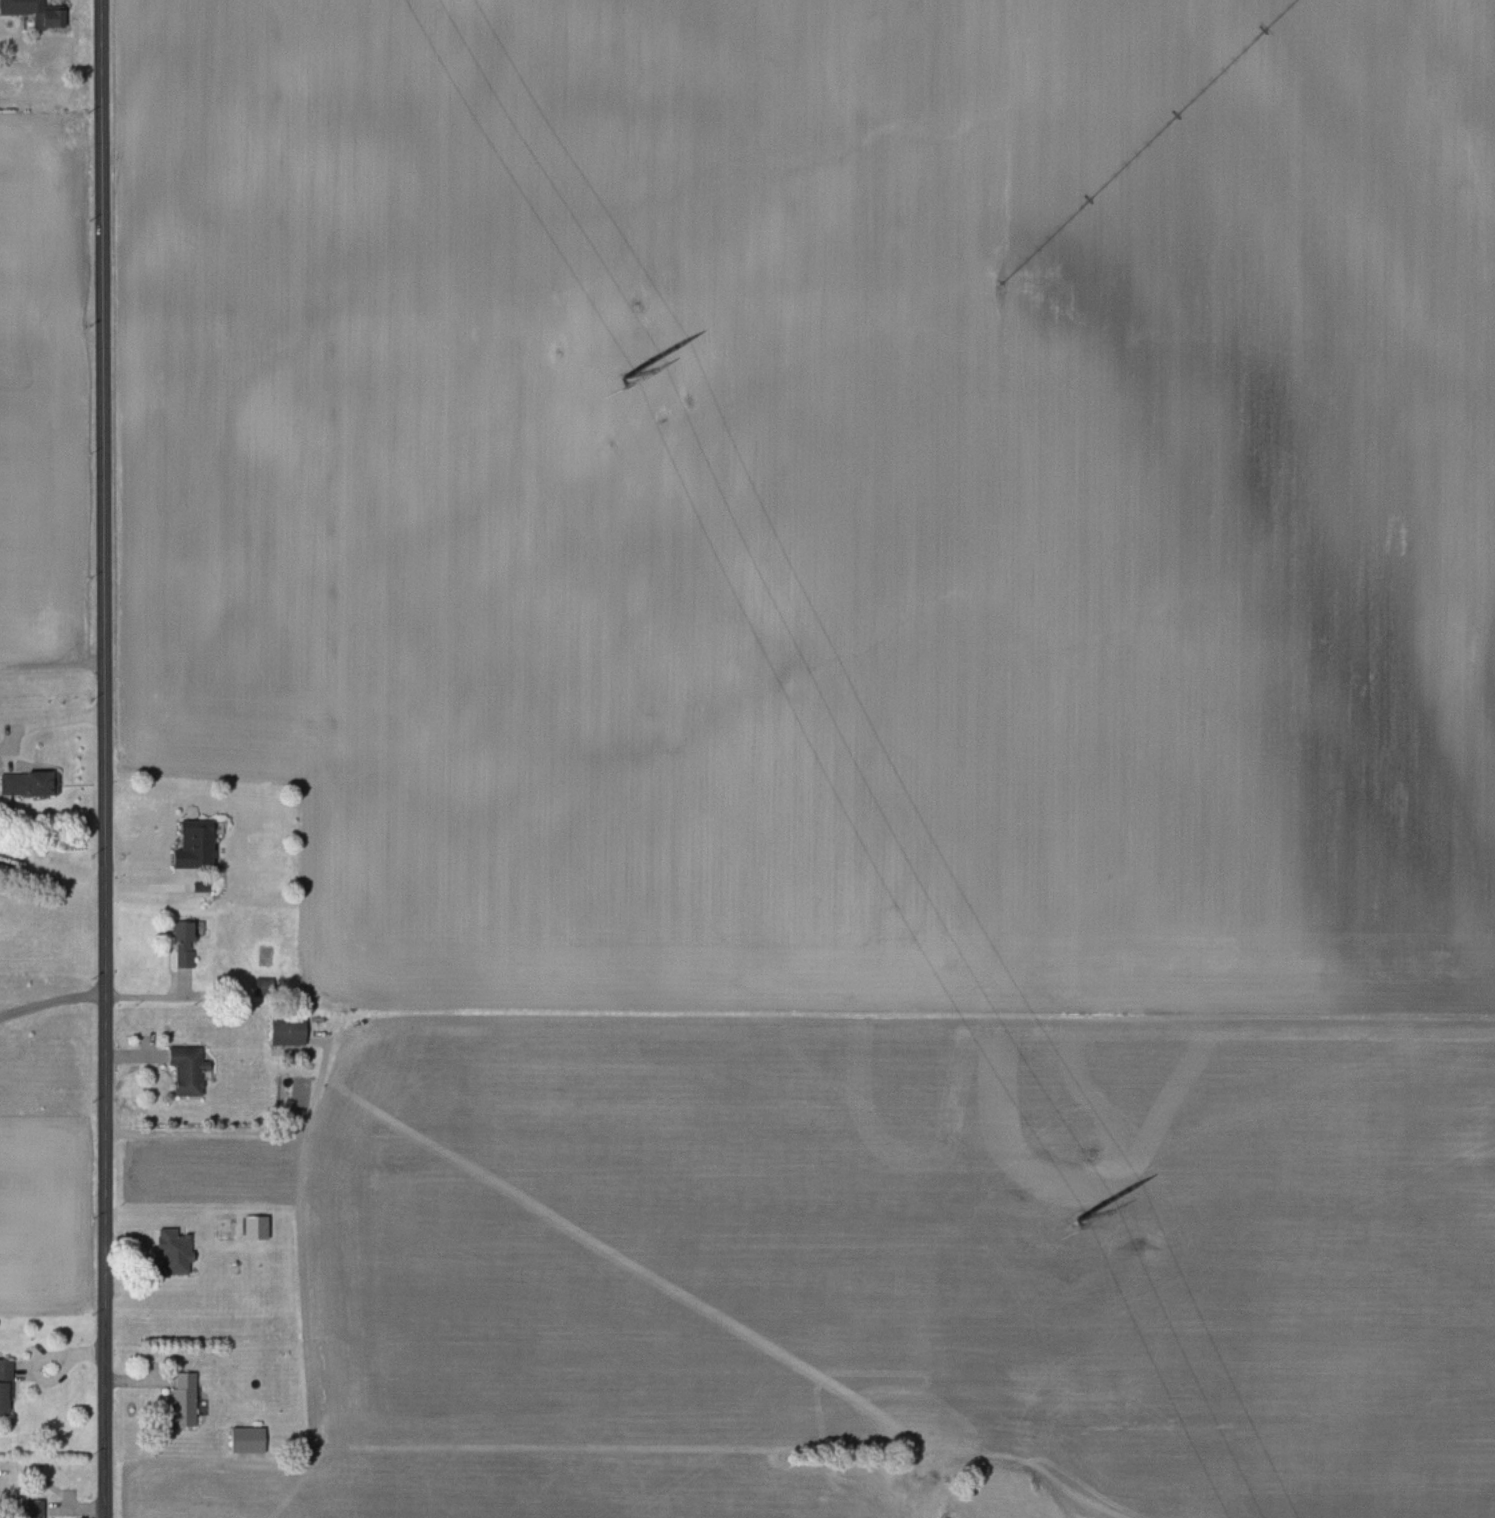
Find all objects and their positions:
building: (32, 12)
power tower: (617, 375)
road: (42, 722)
road: (105, 759)
building: (23, 783)
building: (188, 845)
road: (52, 878)
building: (179, 944)
road: (53, 1000)
building: (285, 1030)
building: (182, 1070)
power tower: (1075, 1218)
building: (168, 1252)
building: (3, 1385)
building: (179, 1398)
building: (242, 1439)
building: (24, 1509)

